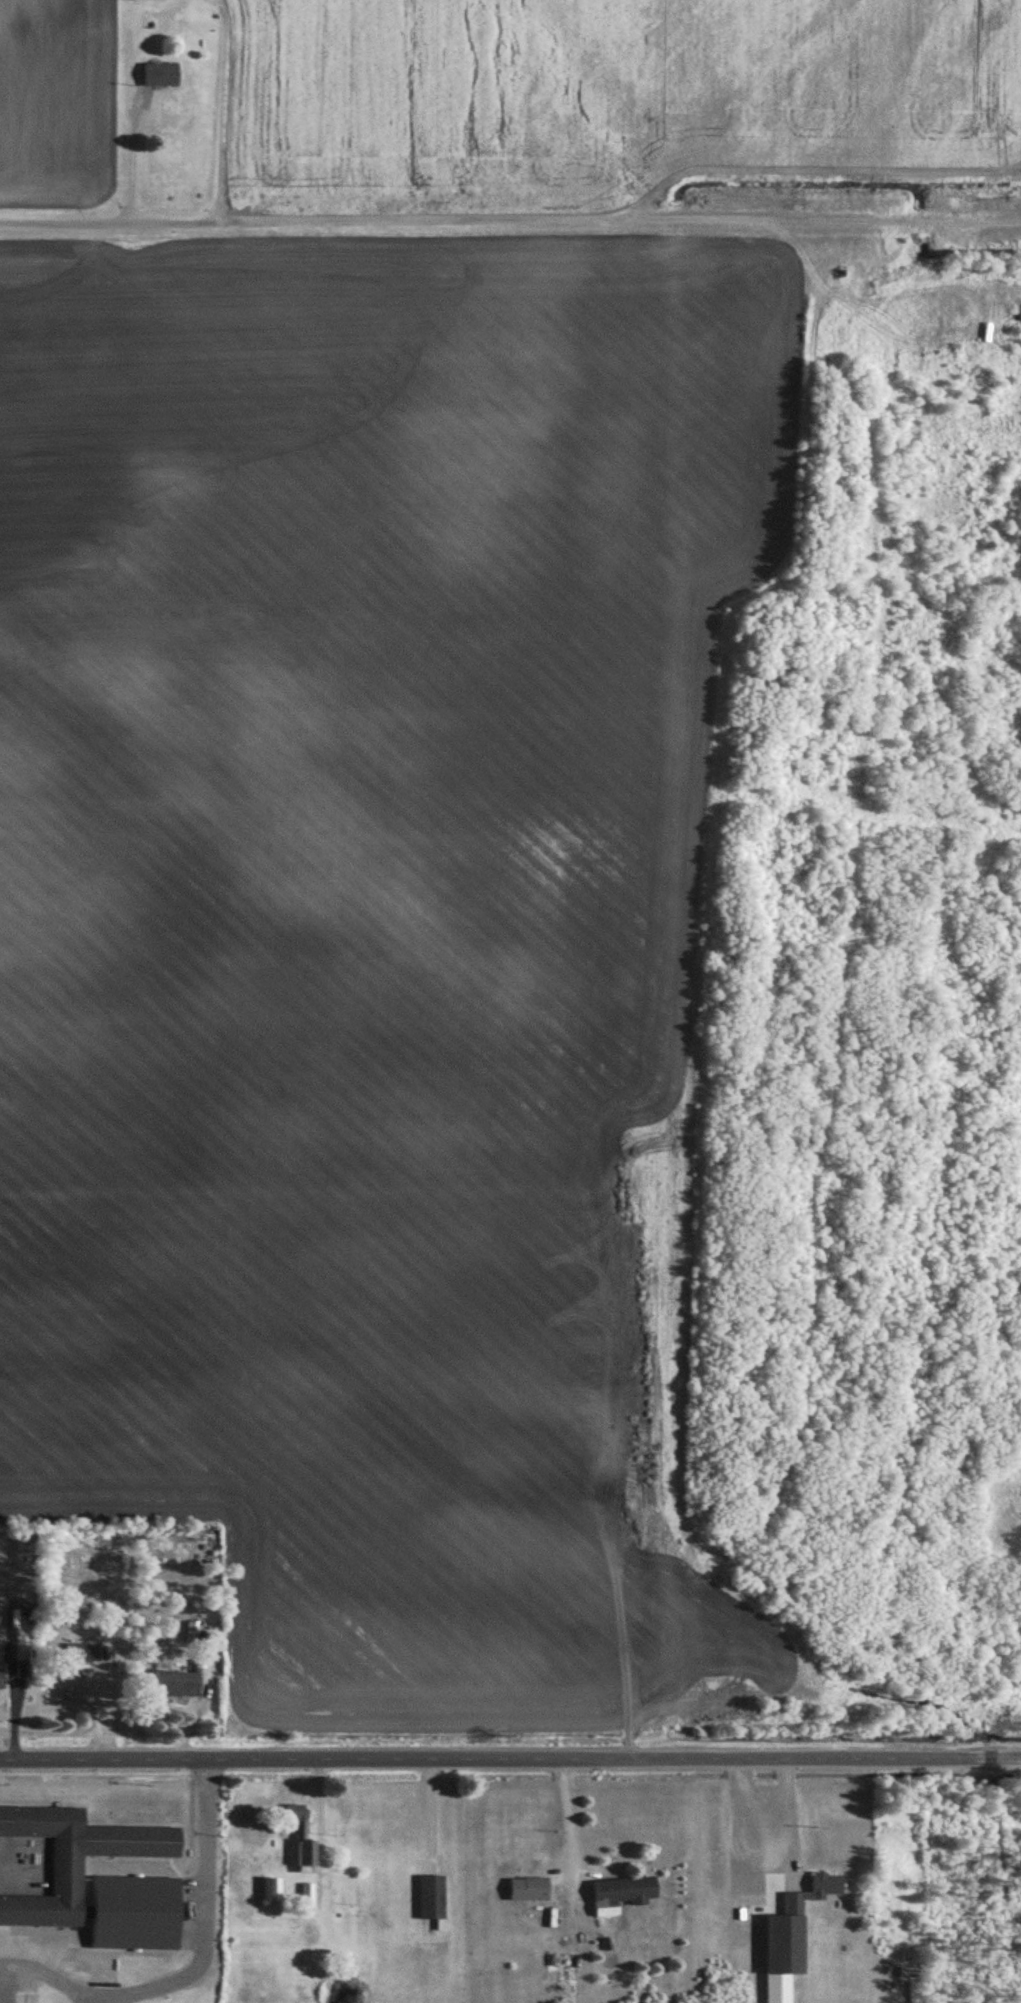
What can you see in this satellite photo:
building: (151, 19)
building: (163, 74)
road: (127, 143)
road: (518, 215)
building: (84, 1653)
building: (1, 1654)
building: (2, 1679)
building: (178, 1684)
road: (510, 1757)
building: (304, 1837)
building: (74, 1858)
building: (828, 1883)
building: (530, 1888)
building: (274, 1889)
building: (623, 1893)
building: (310, 1894)
building: (434, 1896)
building: (795, 1903)
building: (136, 1912)
building: (780, 1987)
road: (1020, 2002)

